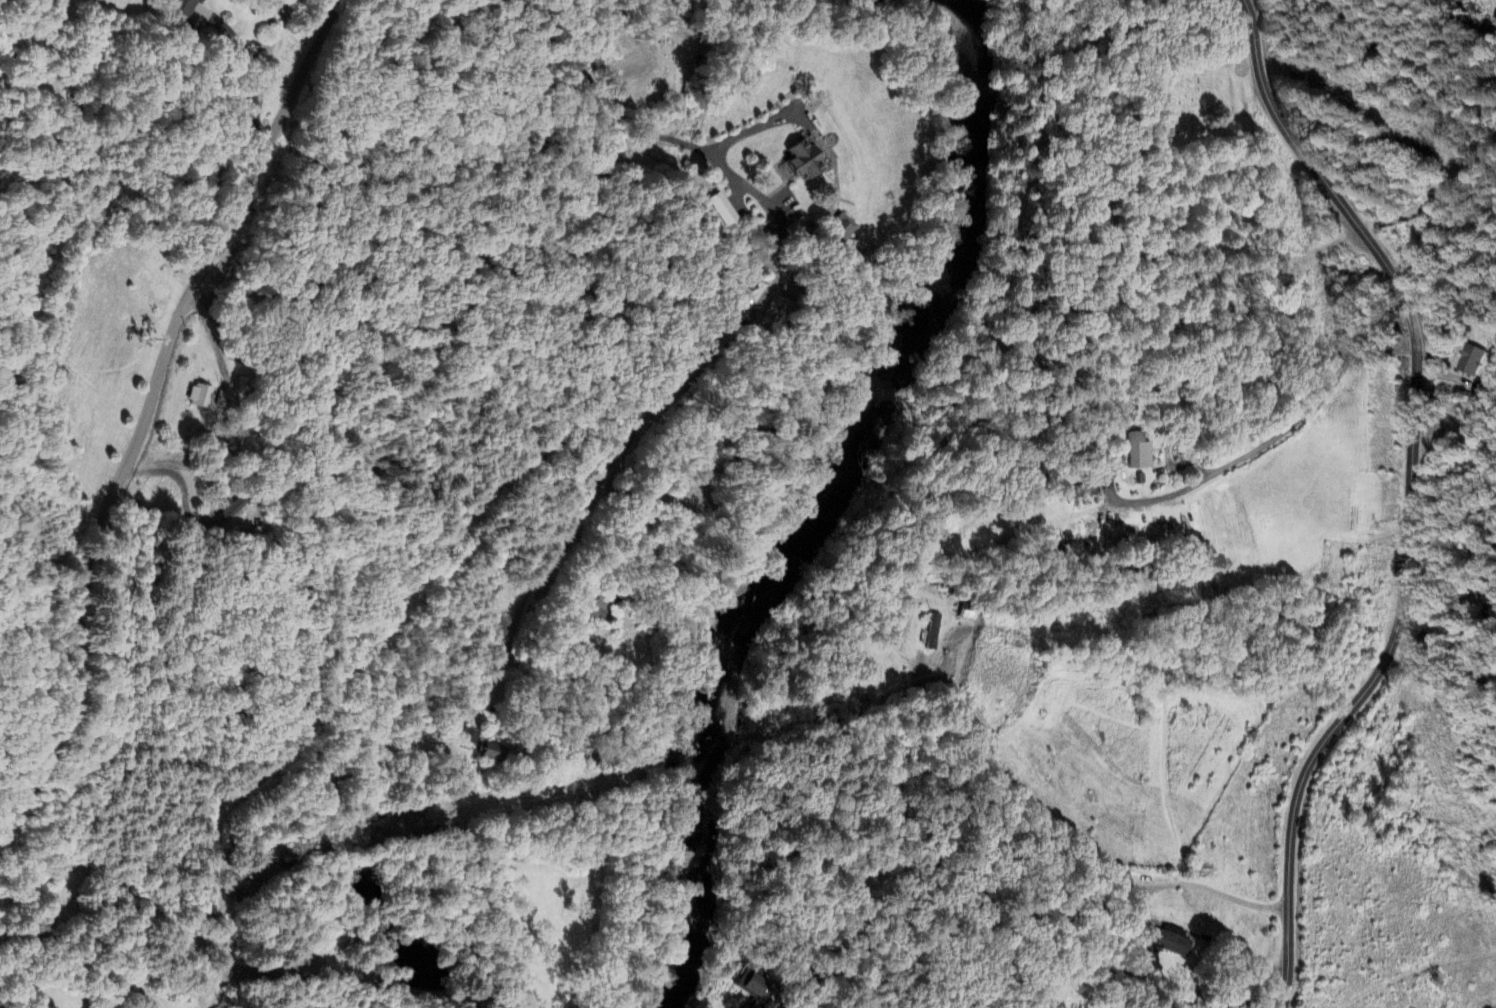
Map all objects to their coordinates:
building: (184, 7)
road: (249, 64)
road: (601, 93)
park: (1193, 103)
building: (799, 162)
road: (1324, 177)
river: (971, 186)
road: (753, 194)
building: (723, 211)
building: (841, 229)
road: (673, 290)
building: (771, 316)
road: (585, 342)
building: (1469, 361)
building: (199, 396)
road: (147, 409)
road: (1276, 436)
building: (1138, 452)
building: (230, 508)
building: (593, 606)
river: (739, 673)
road: (1369, 685)
building: (468, 737)
building: (488, 752)
road: (1198, 887)
building: (1165, 942)
road: (865, 952)
building: (753, 989)

